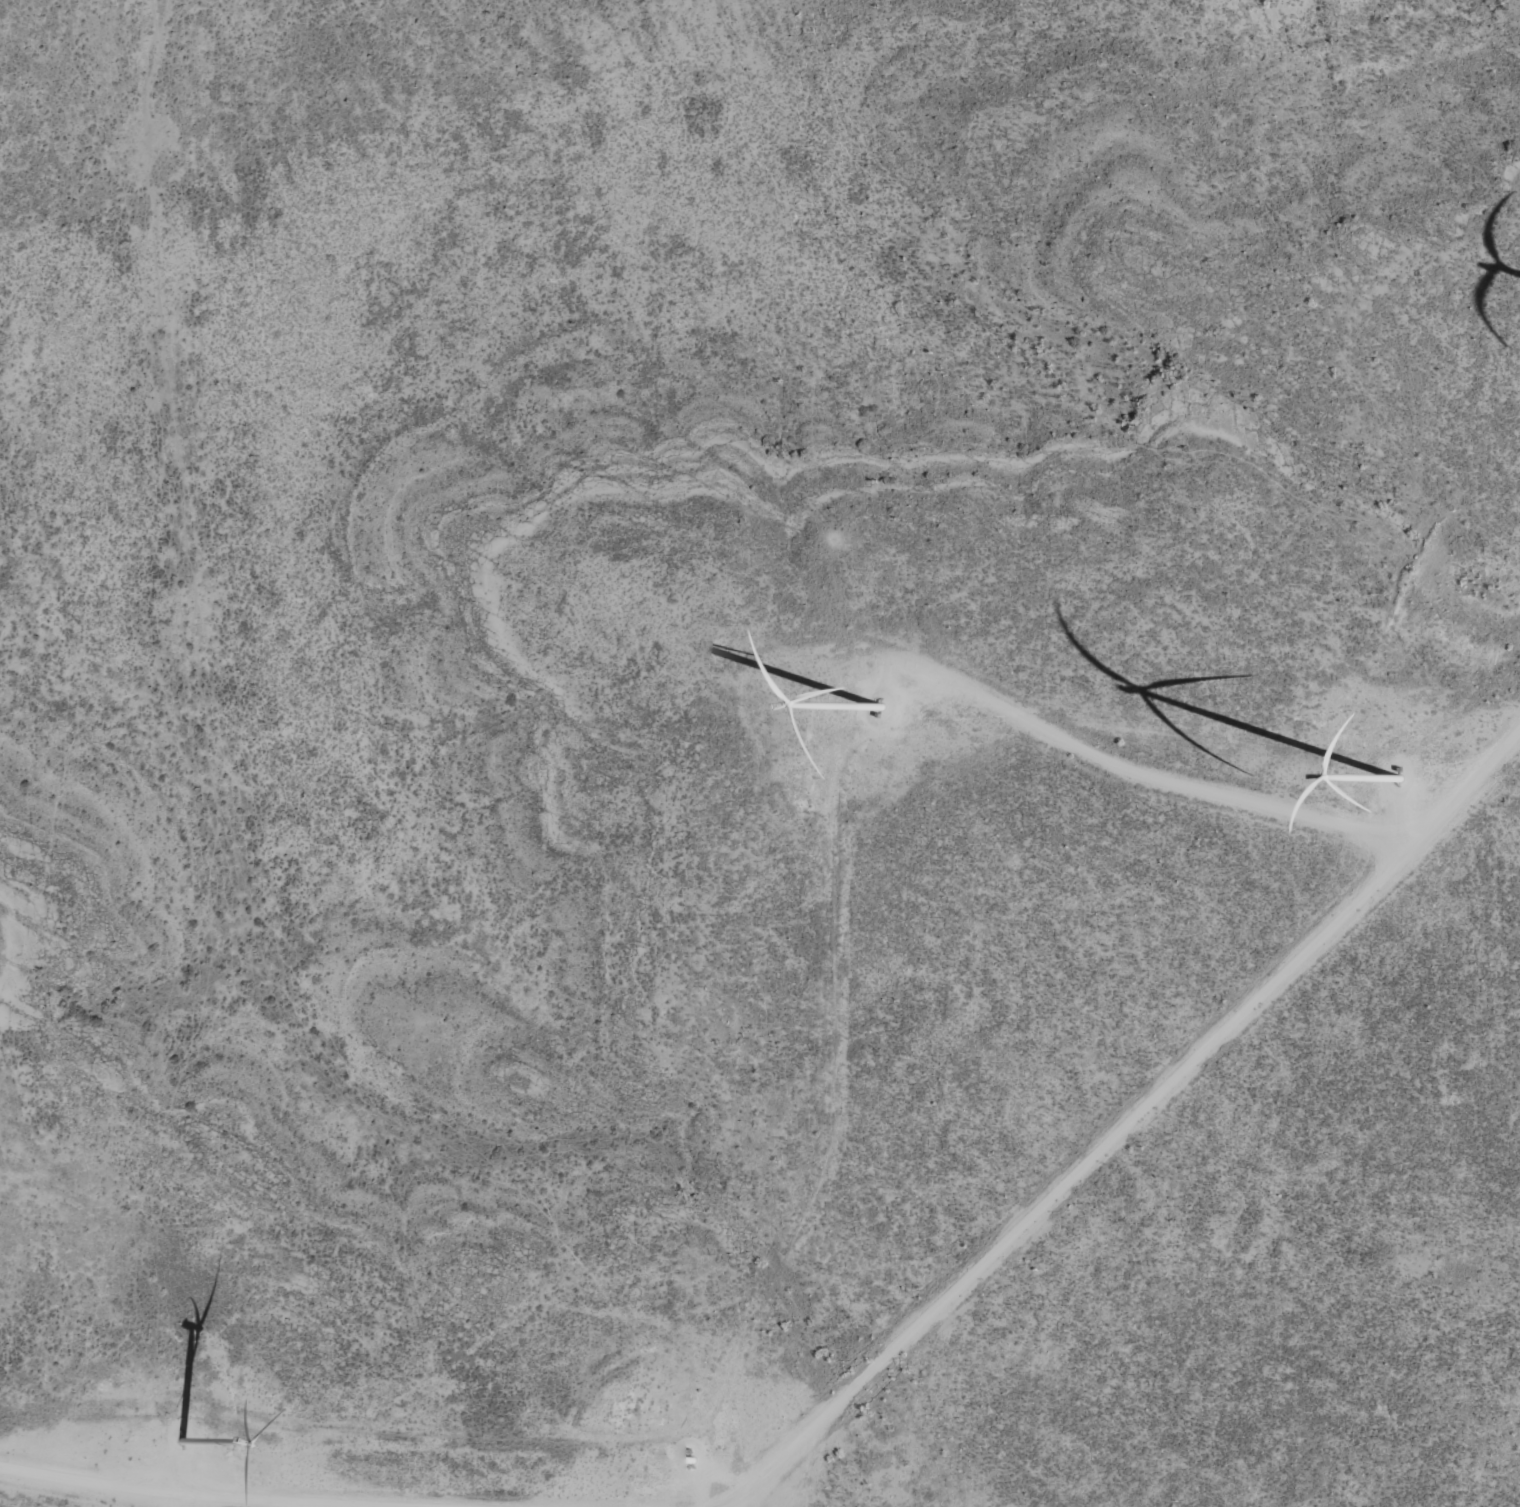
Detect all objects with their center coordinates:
wind turbine: (886, 699)
wind turbine: (1394, 768)
wind turbine: (179, 1439)
wind turbine: (687, 1452)

